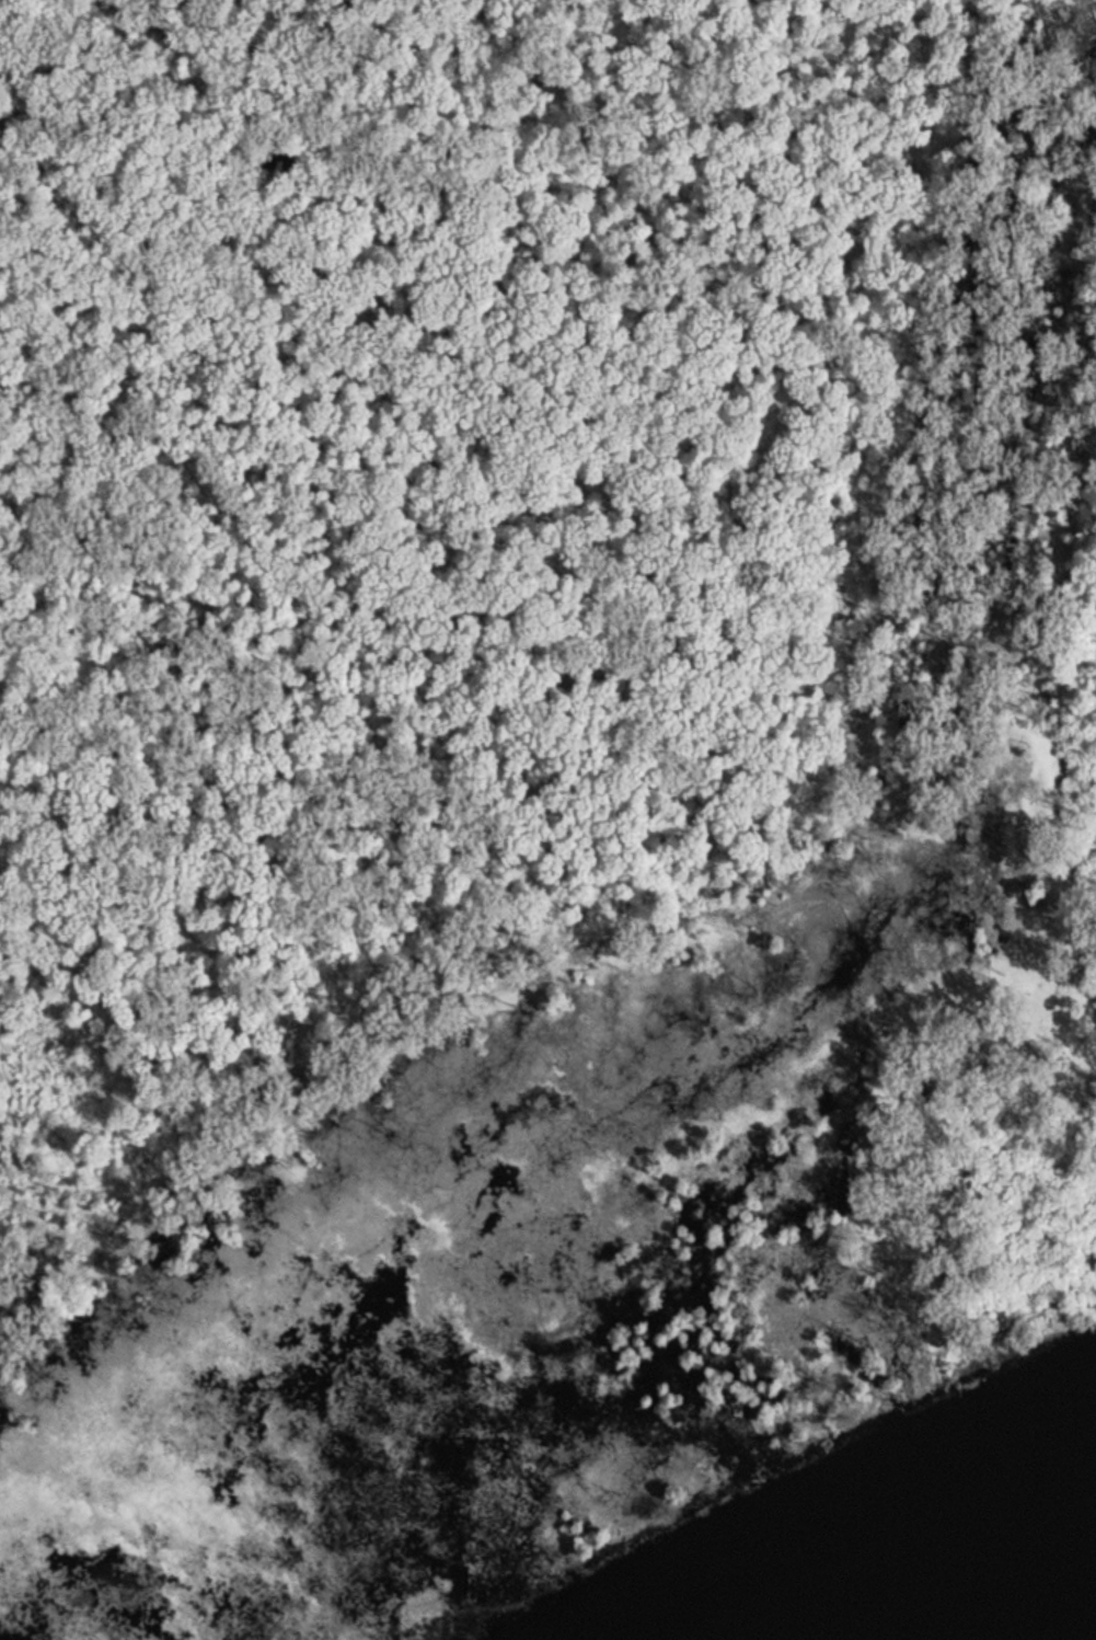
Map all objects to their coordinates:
river: (982, 1590)

